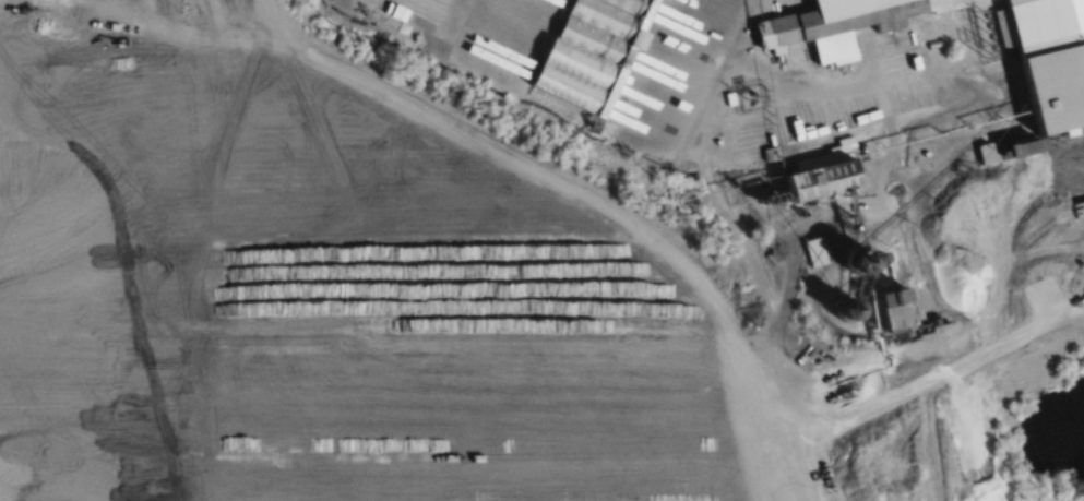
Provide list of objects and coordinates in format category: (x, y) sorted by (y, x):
building: (832, 17)
building: (591, 51)
building: (1047, 59)
building: (989, 153)
building: (832, 179)
road: (585, 202)
building: (817, 251)
building: (904, 309)

